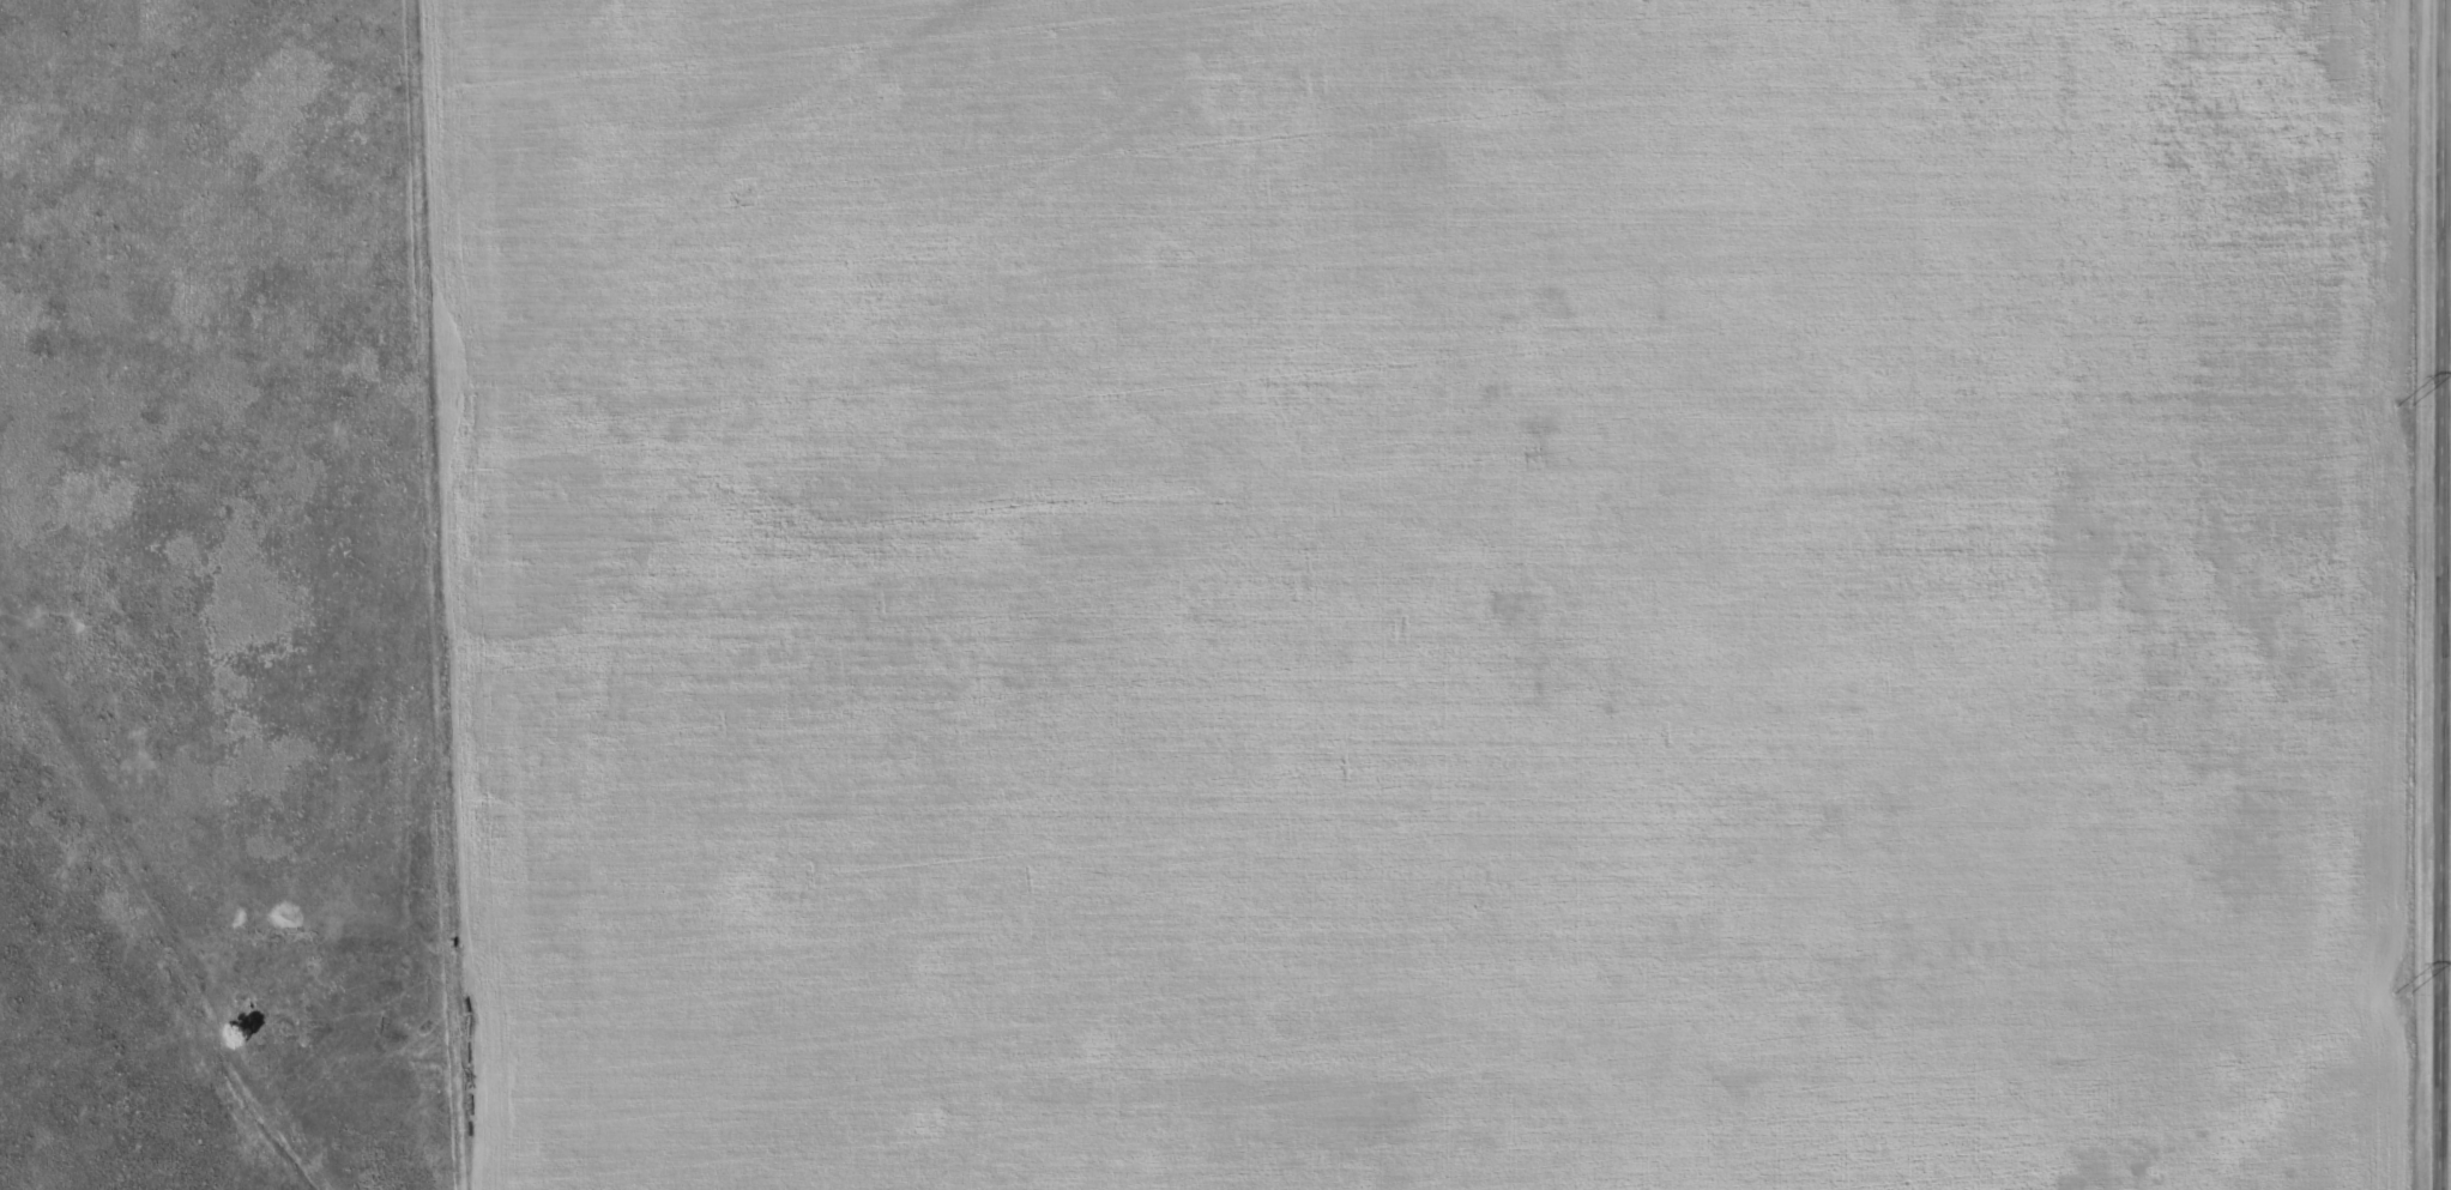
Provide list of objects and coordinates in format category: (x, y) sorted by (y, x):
power tower: (2399, 407)
road: (2435, 594)
power tower: (2397, 992)

